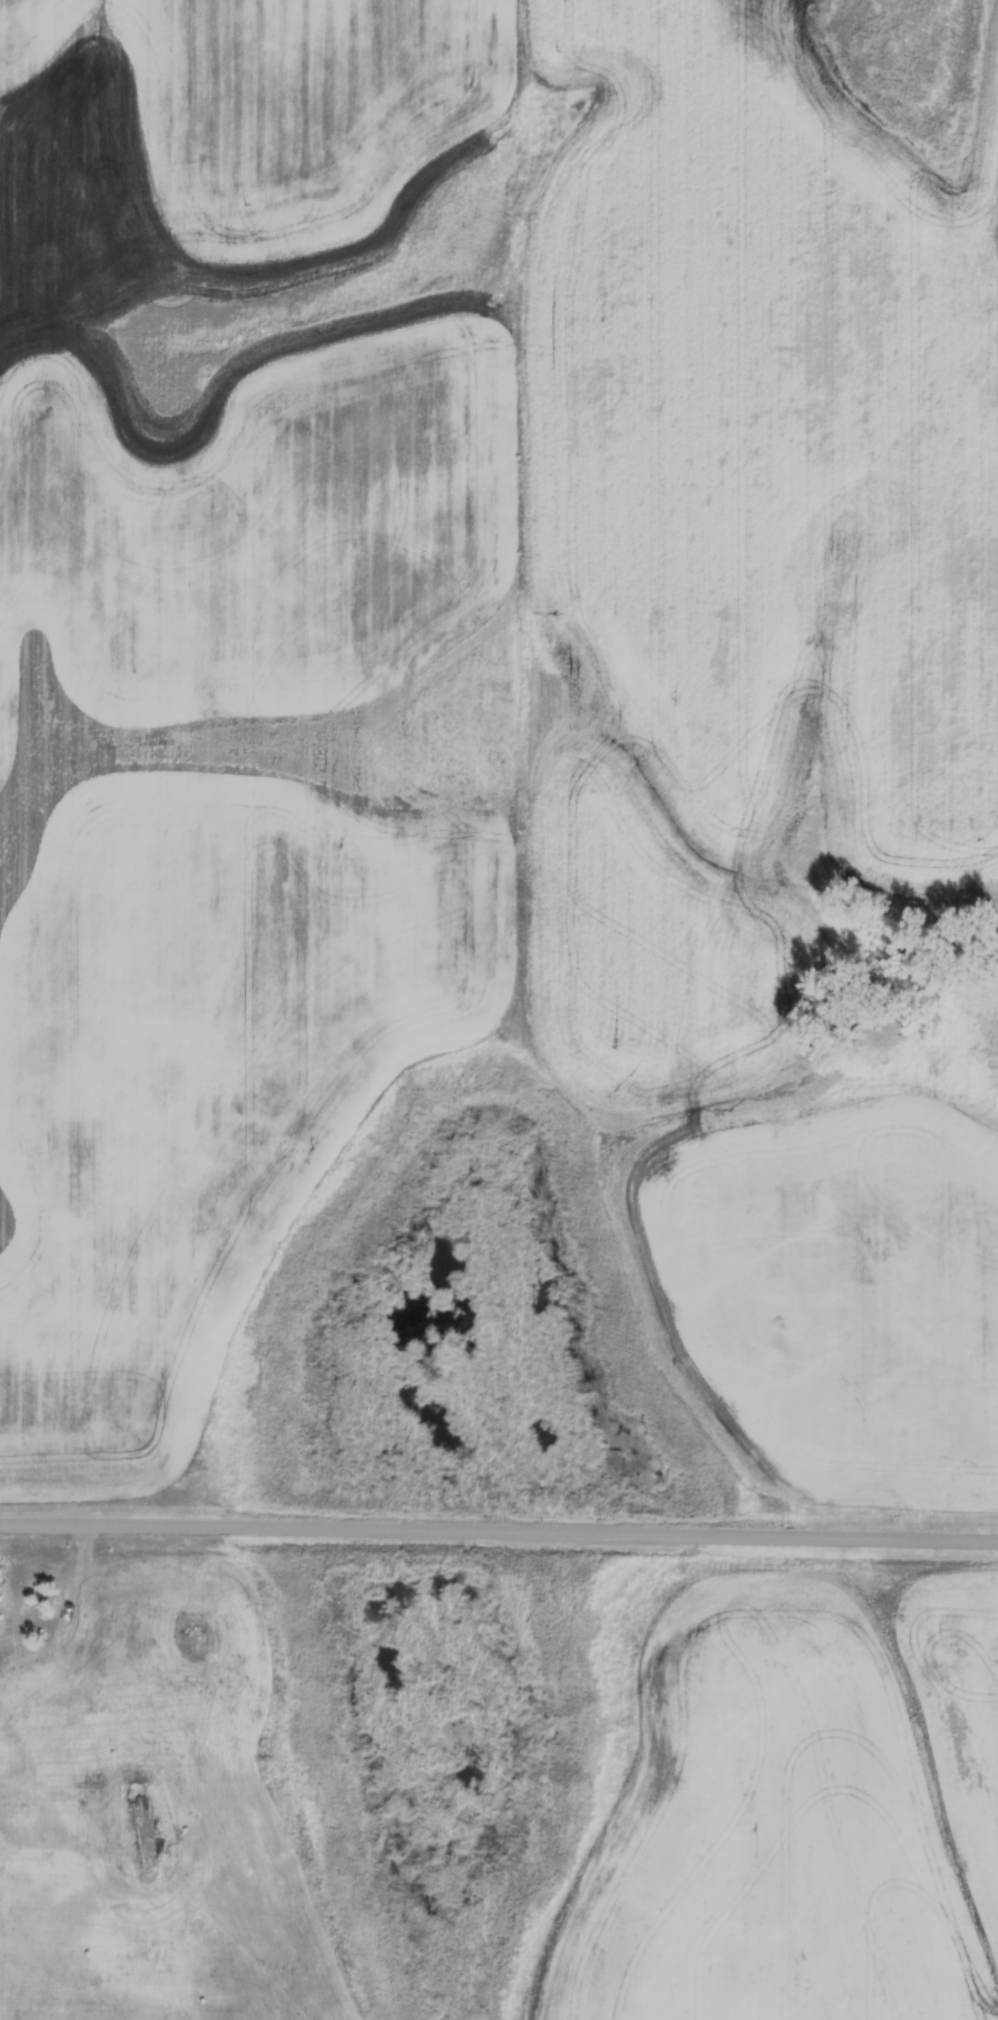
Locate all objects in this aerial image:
road: (499, 1530)

